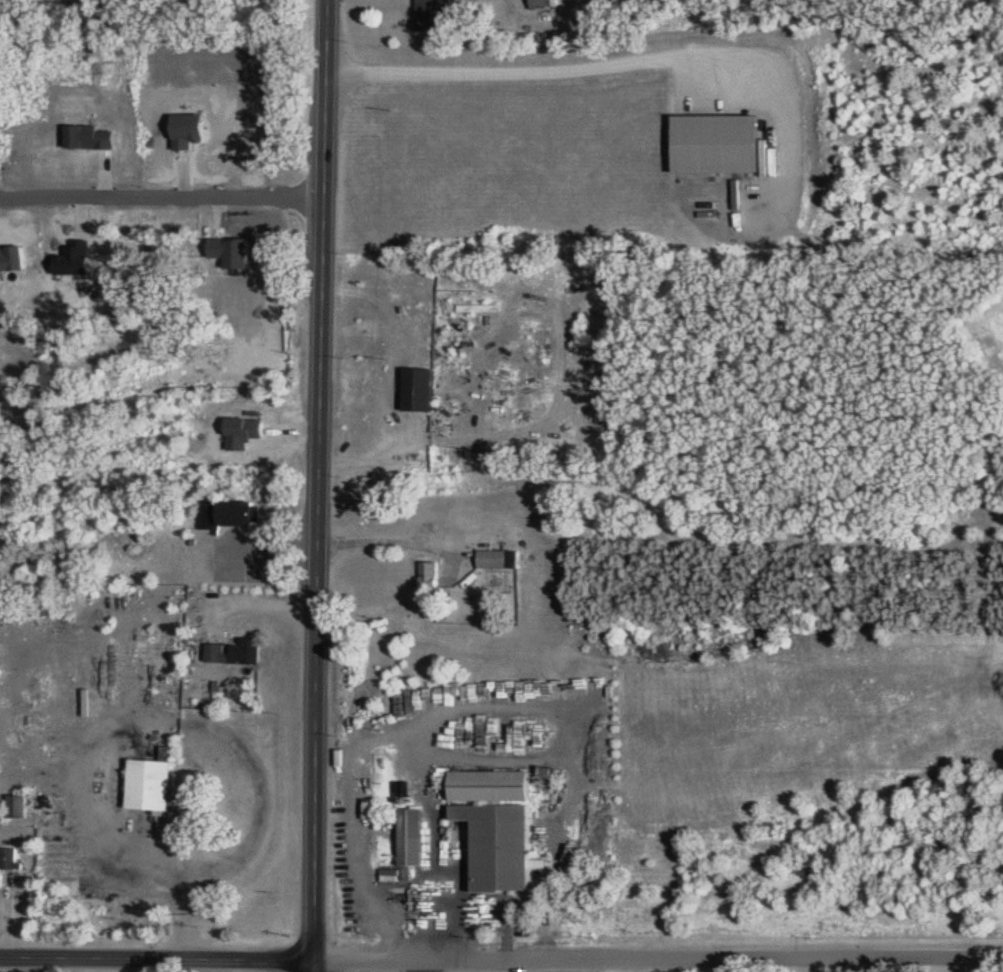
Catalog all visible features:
building: (544, 3)
building: (434, 14)
road: (331, 27)
road: (527, 65)
building: (718, 143)
road: (163, 193)
building: (214, 257)
building: (141, 298)
building: (253, 327)
building: (421, 389)
building: (617, 418)
building: (230, 512)
road: (322, 512)
building: (500, 559)
building: (432, 580)
road: (269, 603)
building: (237, 652)
road: (440, 710)
road: (136, 714)
building: (151, 785)
building: (491, 786)
building: (19, 805)
building: (412, 841)
building: (500, 846)
building: (9, 861)
road: (478, 905)
road: (501, 959)
road: (595, 965)

